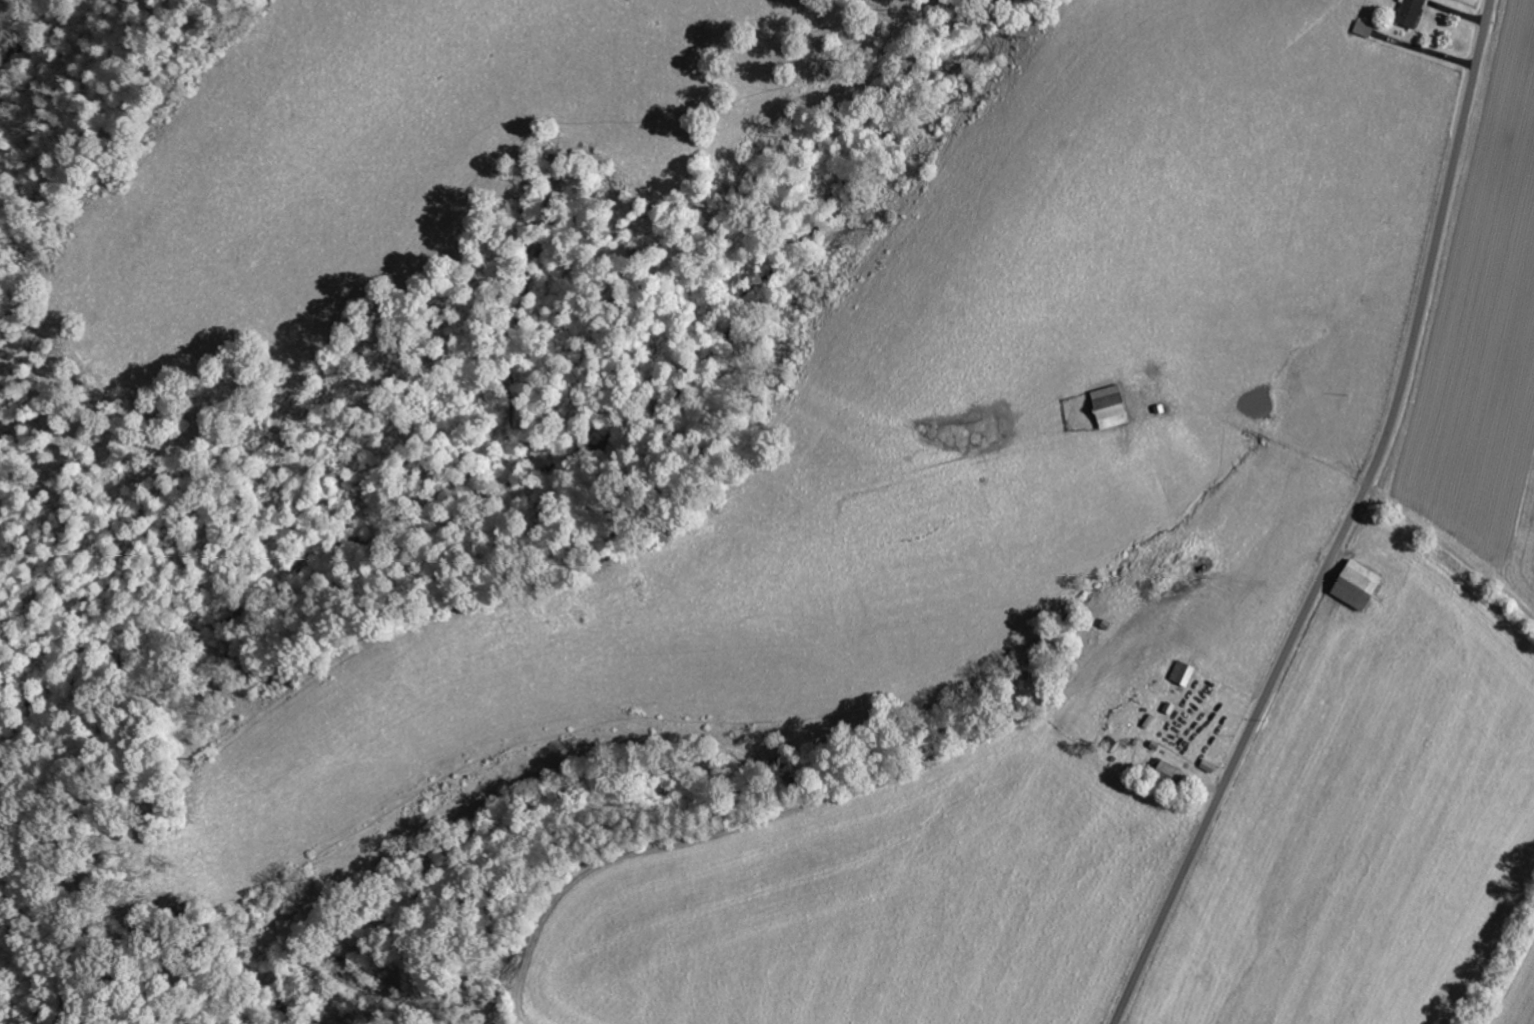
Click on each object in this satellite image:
building: (1412, 11)
building: (1112, 405)
road: (1344, 527)
building: (1360, 584)
building: (1183, 672)
building: (1167, 771)

